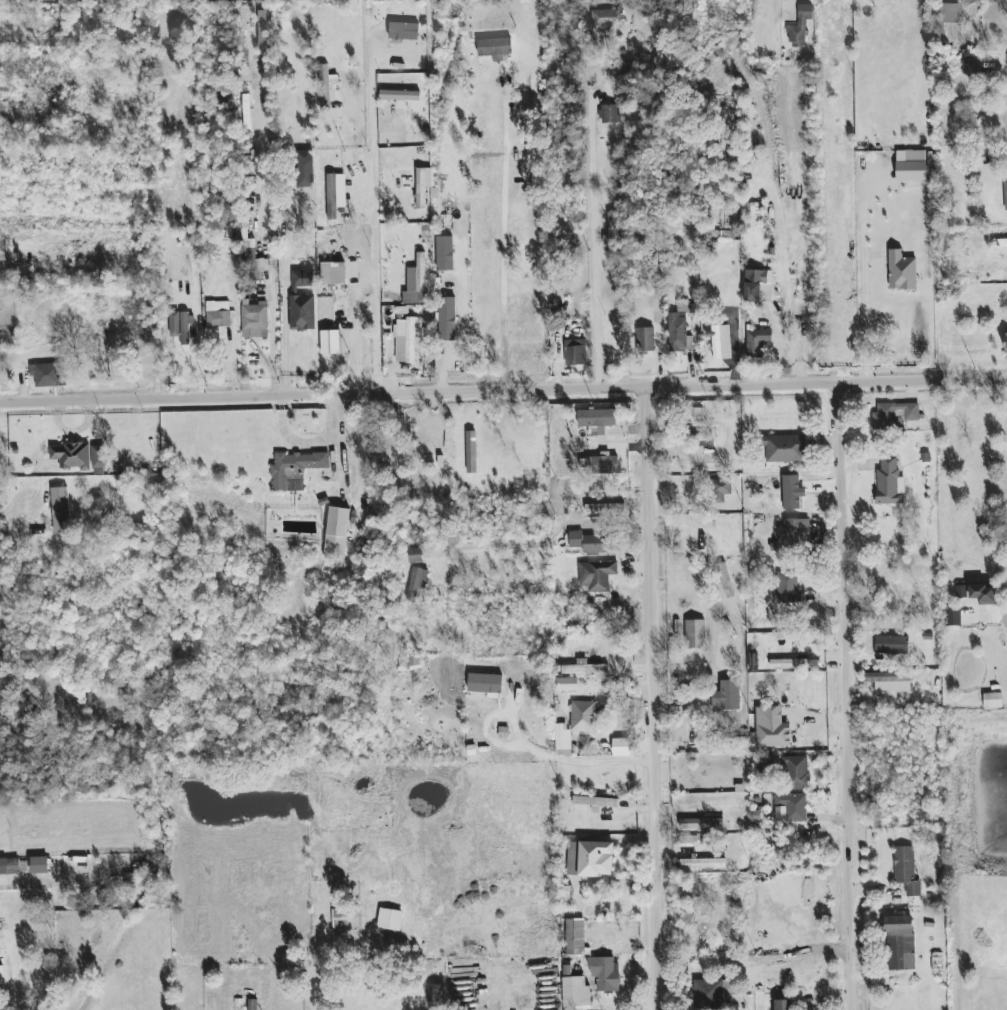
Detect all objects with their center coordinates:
road: (776, 2)
building: (973, 6)
building: (951, 13)
building: (608, 19)
building: (800, 27)
building: (403, 31)
building: (951, 32)
building: (494, 48)
building: (325, 84)
building: (532, 94)
building: (400, 96)
building: (609, 114)
building: (911, 165)
building: (304, 168)
building: (421, 188)
building: (335, 194)
building: (1005, 195)
road: (160, 206)
road: (376, 222)
building: (612, 231)
road: (503, 232)
road: (594, 238)
building: (999, 243)
building: (445, 253)
building: (901, 271)
road: (6, 273)
building: (333, 273)
road: (865, 276)
building: (303, 278)
building: (416, 282)
building: (754, 284)
building: (302, 312)
building: (218, 314)
building: (447, 319)
building: (254, 321)
building: (181, 326)
road: (463, 329)
road: (286, 336)
building: (406, 339)
building: (645, 339)
building: (757, 341)
building: (1005, 341)
building: (331, 342)
building: (721, 342)
building: (575, 352)
building: (46, 374)
road: (503, 389)
building: (698, 413)
building: (894, 415)
building: (597, 420)
building: (699, 440)
building: (784, 448)
building: (471, 452)
building: (71, 455)
building: (98, 457)
building: (295, 469)
building: (889, 482)
building: (721, 489)
building: (604, 508)
building: (60, 510)
road: (9, 531)
building: (795, 533)
building: (336, 534)
building: (590, 543)
building: (415, 555)
building: (597, 575)
building: (417, 582)
building: (787, 587)
building: (983, 594)
building: (953, 617)
building: (695, 634)
building: (892, 645)
building: (727, 656)
building: (789, 663)
building: (412, 665)
building: (584, 668)
building: (887, 677)
building: (485, 683)
building: (723, 683)
building: (566, 684)
building: (521, 687)
road: (851, 695)
road: (656, 697)
building: (992, 700)
building: (583, 716)
building: (771, 727)
building: (563, 739)
building: (623, 747)
road: (570, 761)
building: (795, 772)
building: (595, 802)
building: (794, 807)
building: (701, 824)
building: (590, 859)
building: (702, 863)
building: (39, 865)
building: (9, 866)
building: (906, 870)
road: (28, 882)
building: (340, 919)
building: (390, 919)
building: (575, 936)
building: (900, 943)
road: (800, 951)
building: (604, 972)
building: (2, 975)
building: (575, 992)
building: (436, 994)
building: (712, 994)
building: (252, 1004)
building: (783, 1004)

